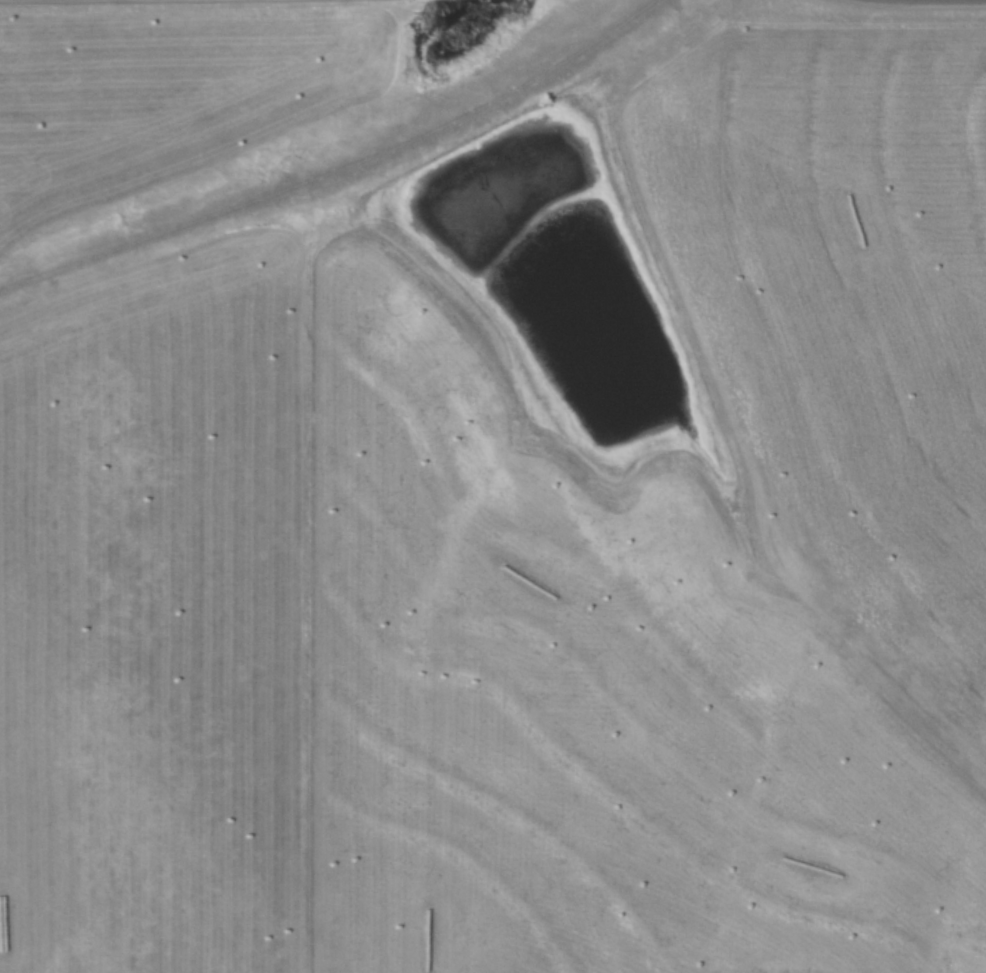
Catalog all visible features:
road: (930, 0)
railway: (335, 169)

